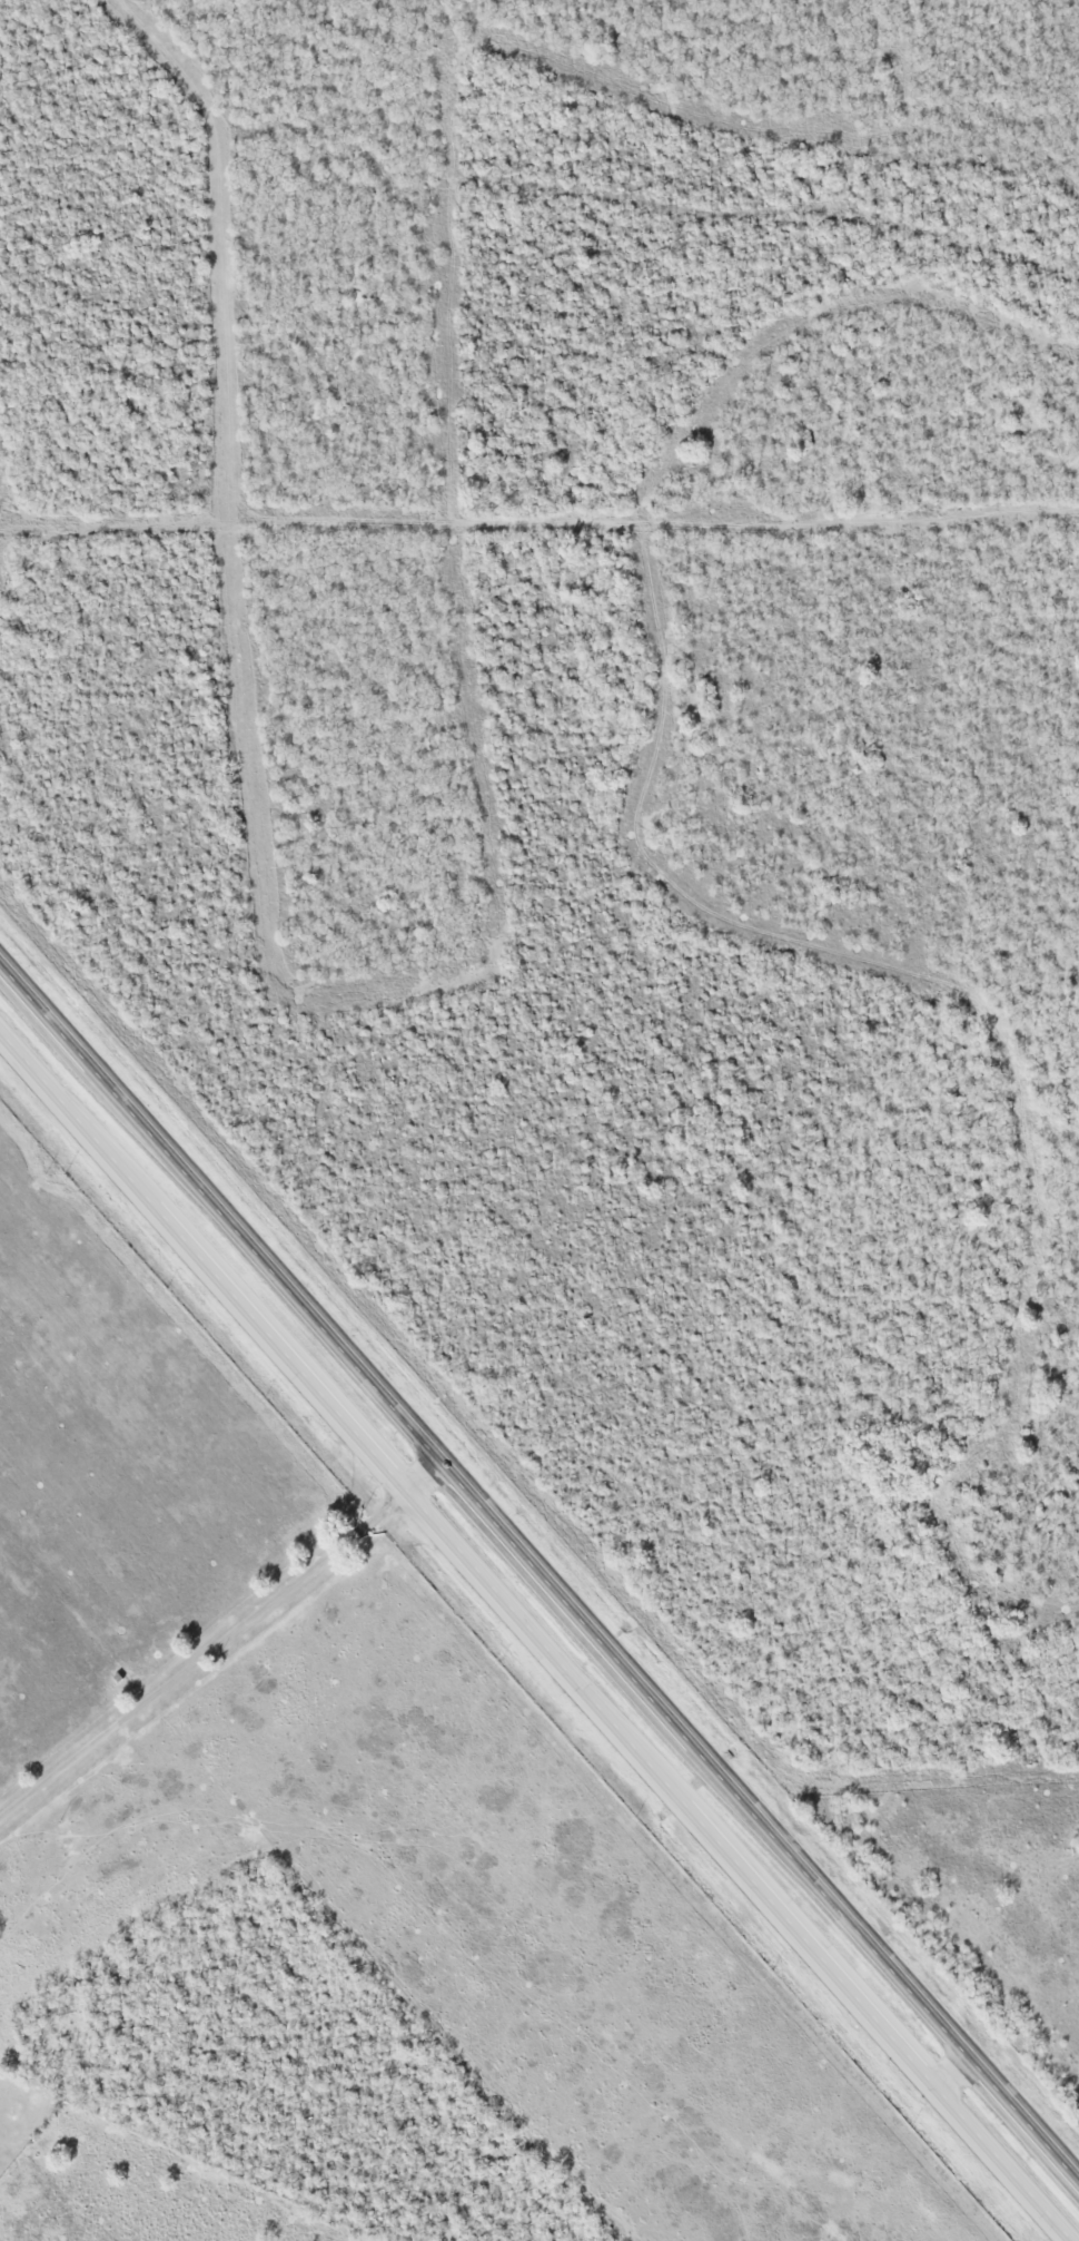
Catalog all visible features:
road: (204, 1262)
road: (426, 1474)
road: (542, 1564)
road: (204, 1655)
road: (741, 1867)
road: (954, 2070)

